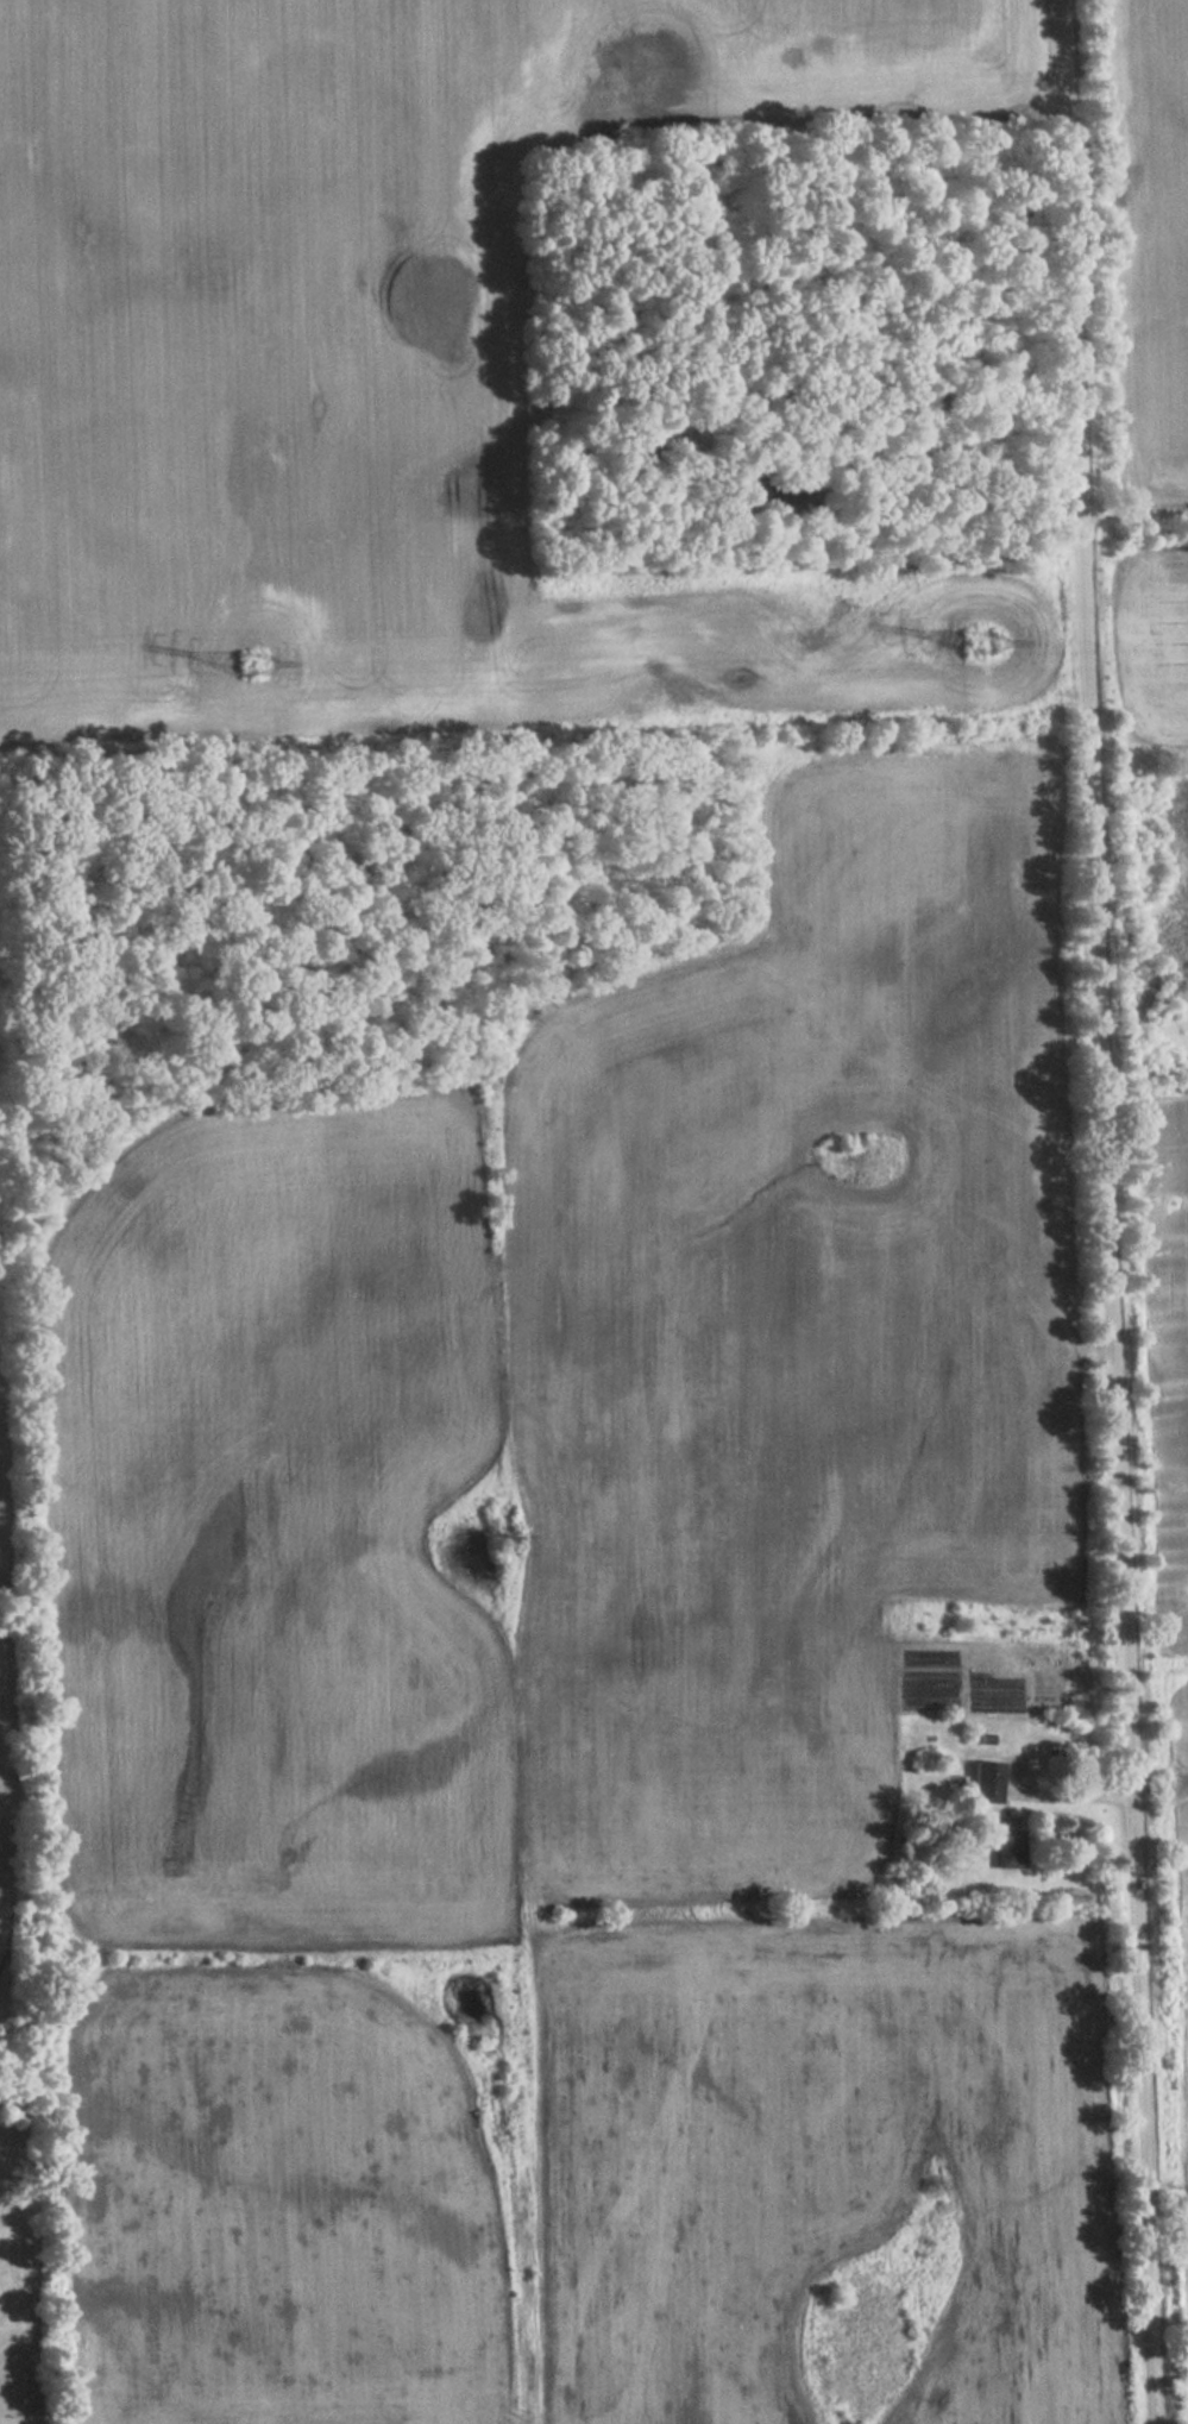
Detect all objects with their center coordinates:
power tower: (978, 643)
power tower: (249, 664)
road: (1110, 1212)
building: (987, 1782)
building: (1010, 1847)

